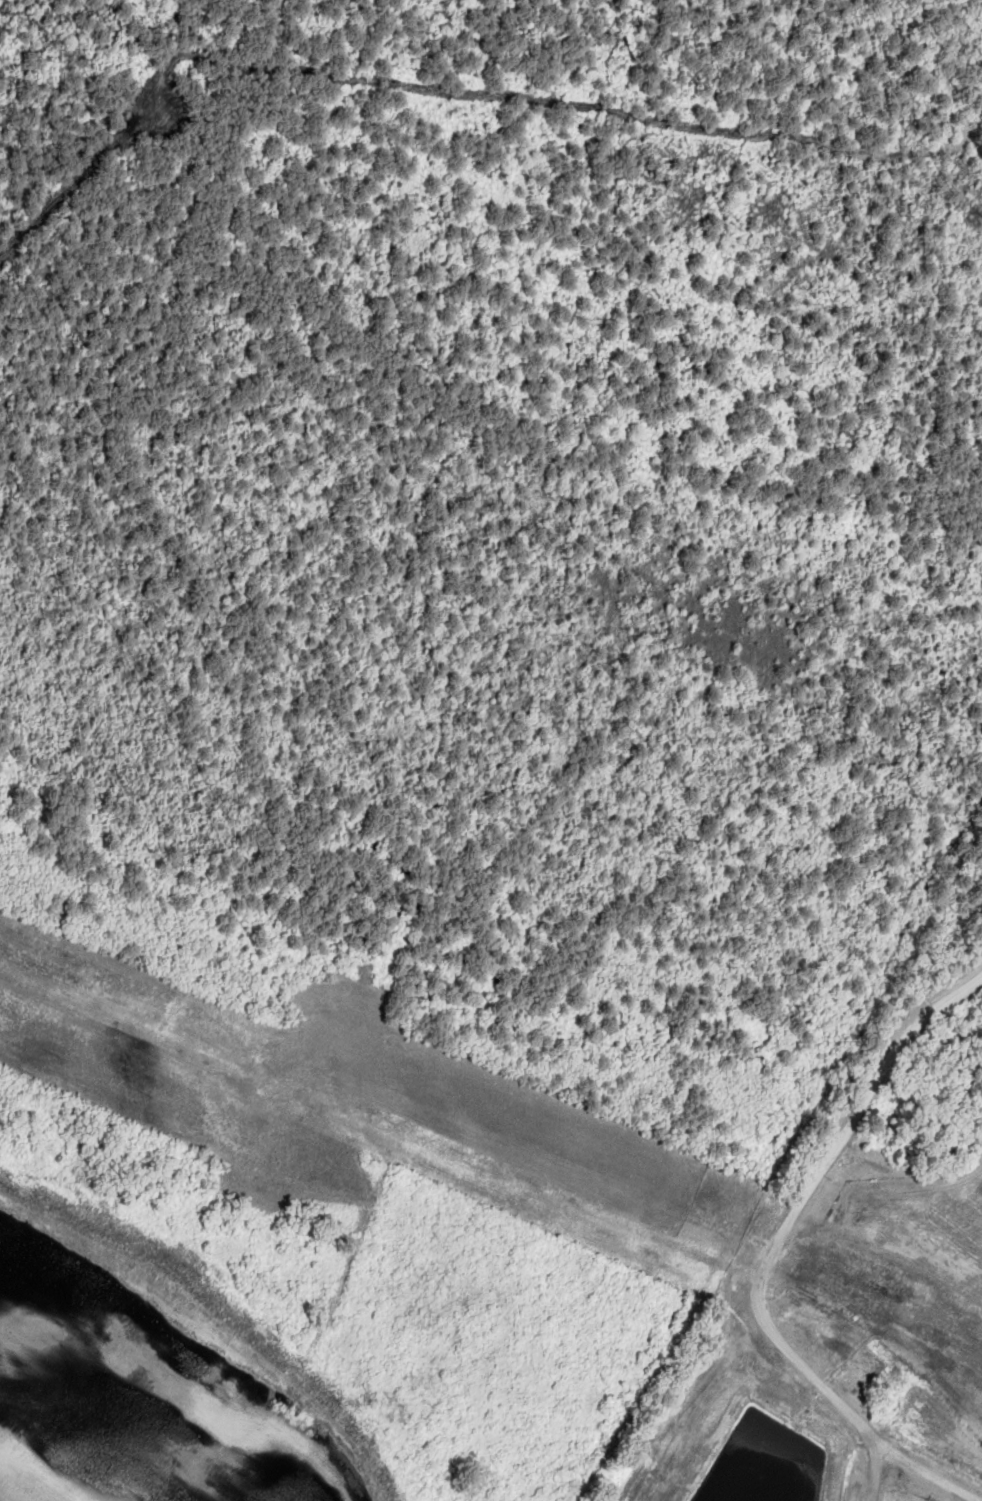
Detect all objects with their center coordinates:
road: (797, 1204)
road: (900, 1457)

